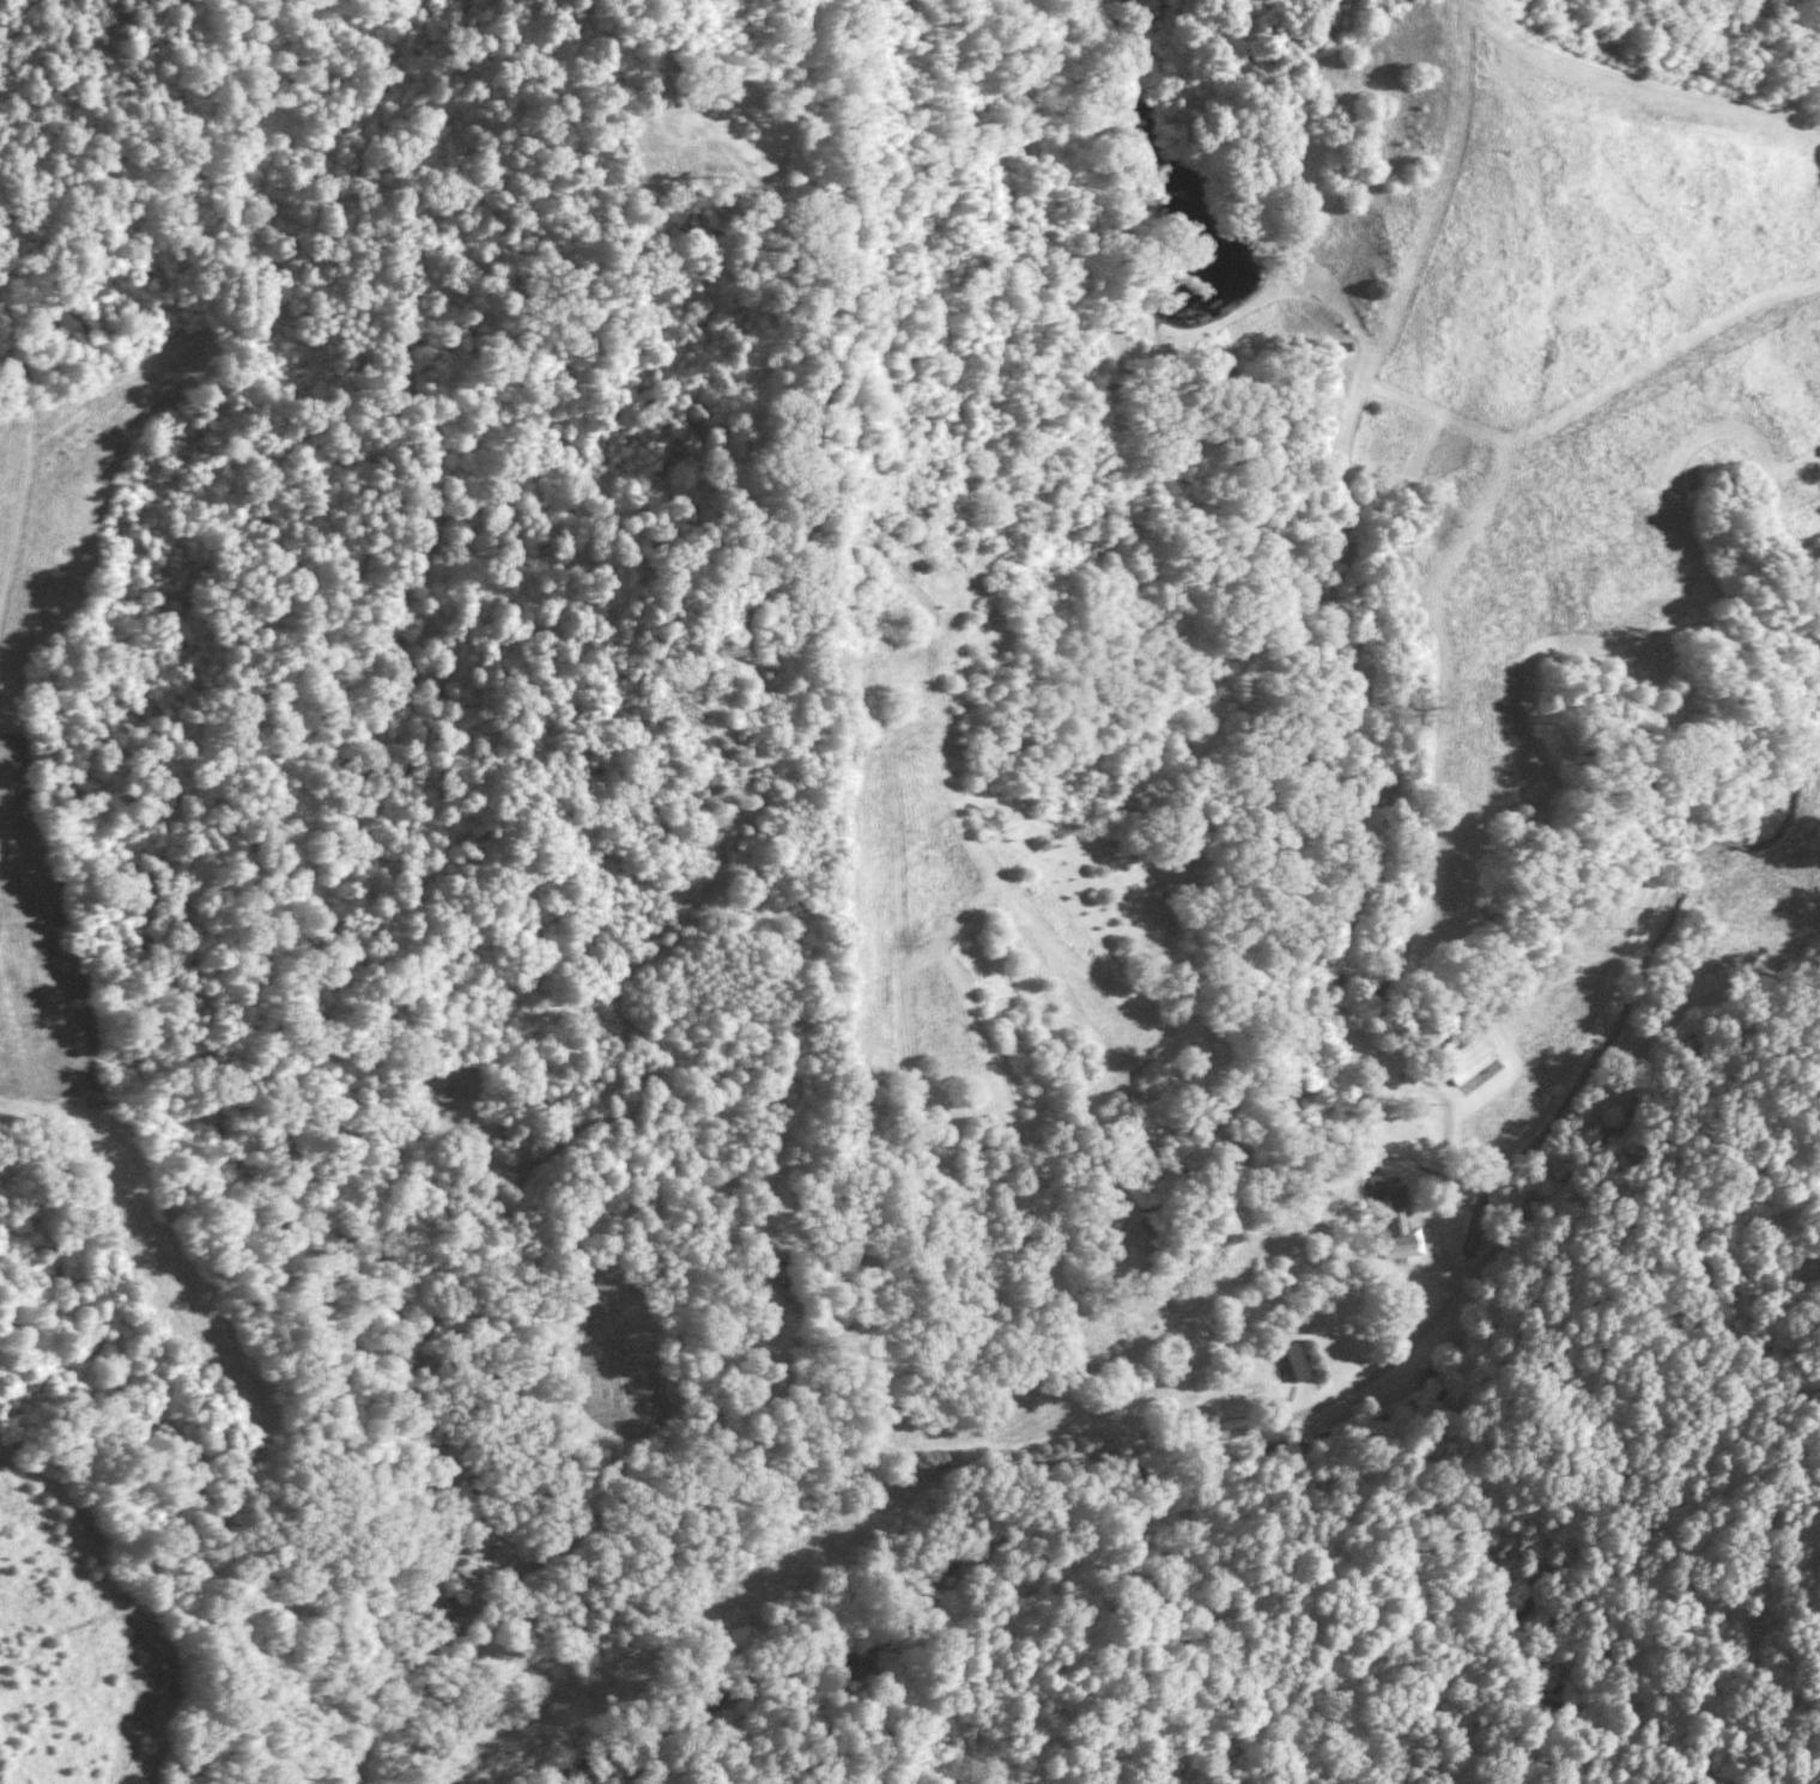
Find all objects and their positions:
building: (1470, 1056)
building: (1394, 1213)
road: (1128, 1451)
building: (453, 1614)

